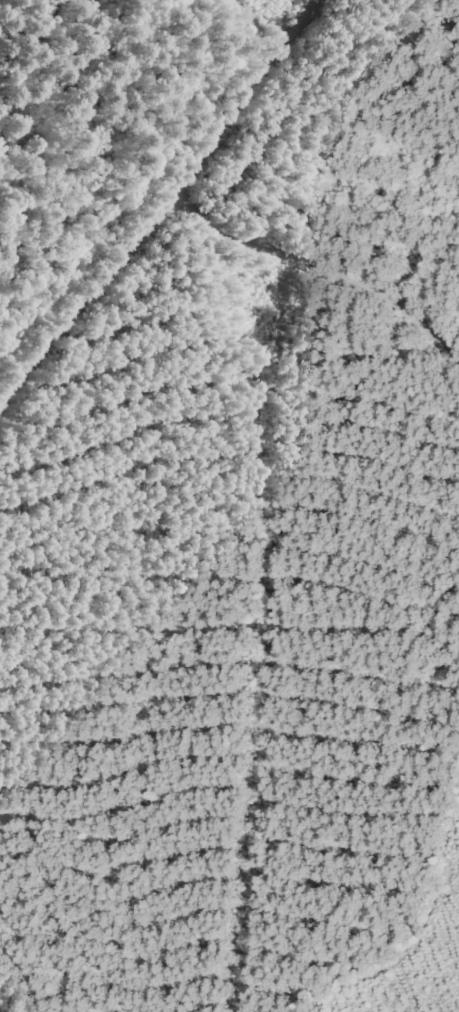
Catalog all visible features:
road: (168, 224)

